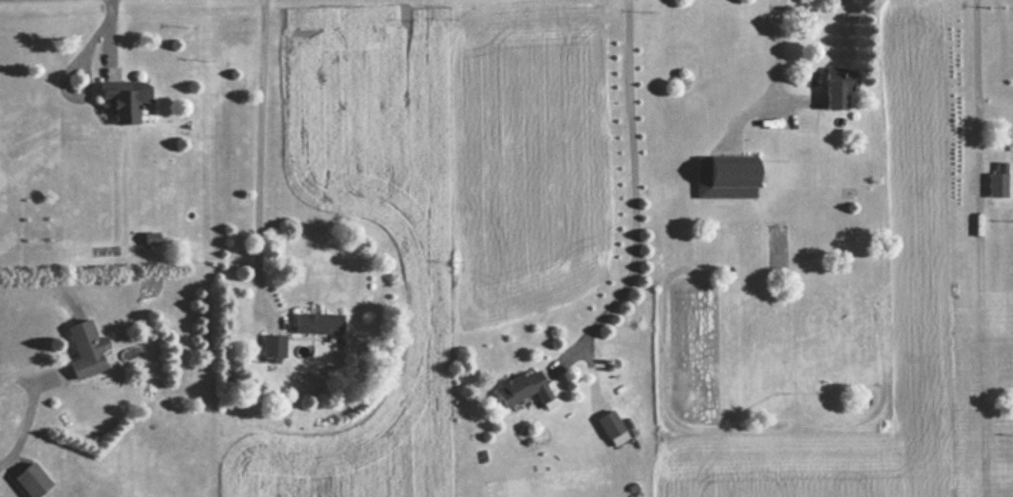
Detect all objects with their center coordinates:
building: (837, 86)
building: (122, 99)
building: (724, 176)
building: (317, 323)
building: (273, 346)
building: (84, 350)
building: (522, 389)
building: (611, 428)
building: (30, 481)

